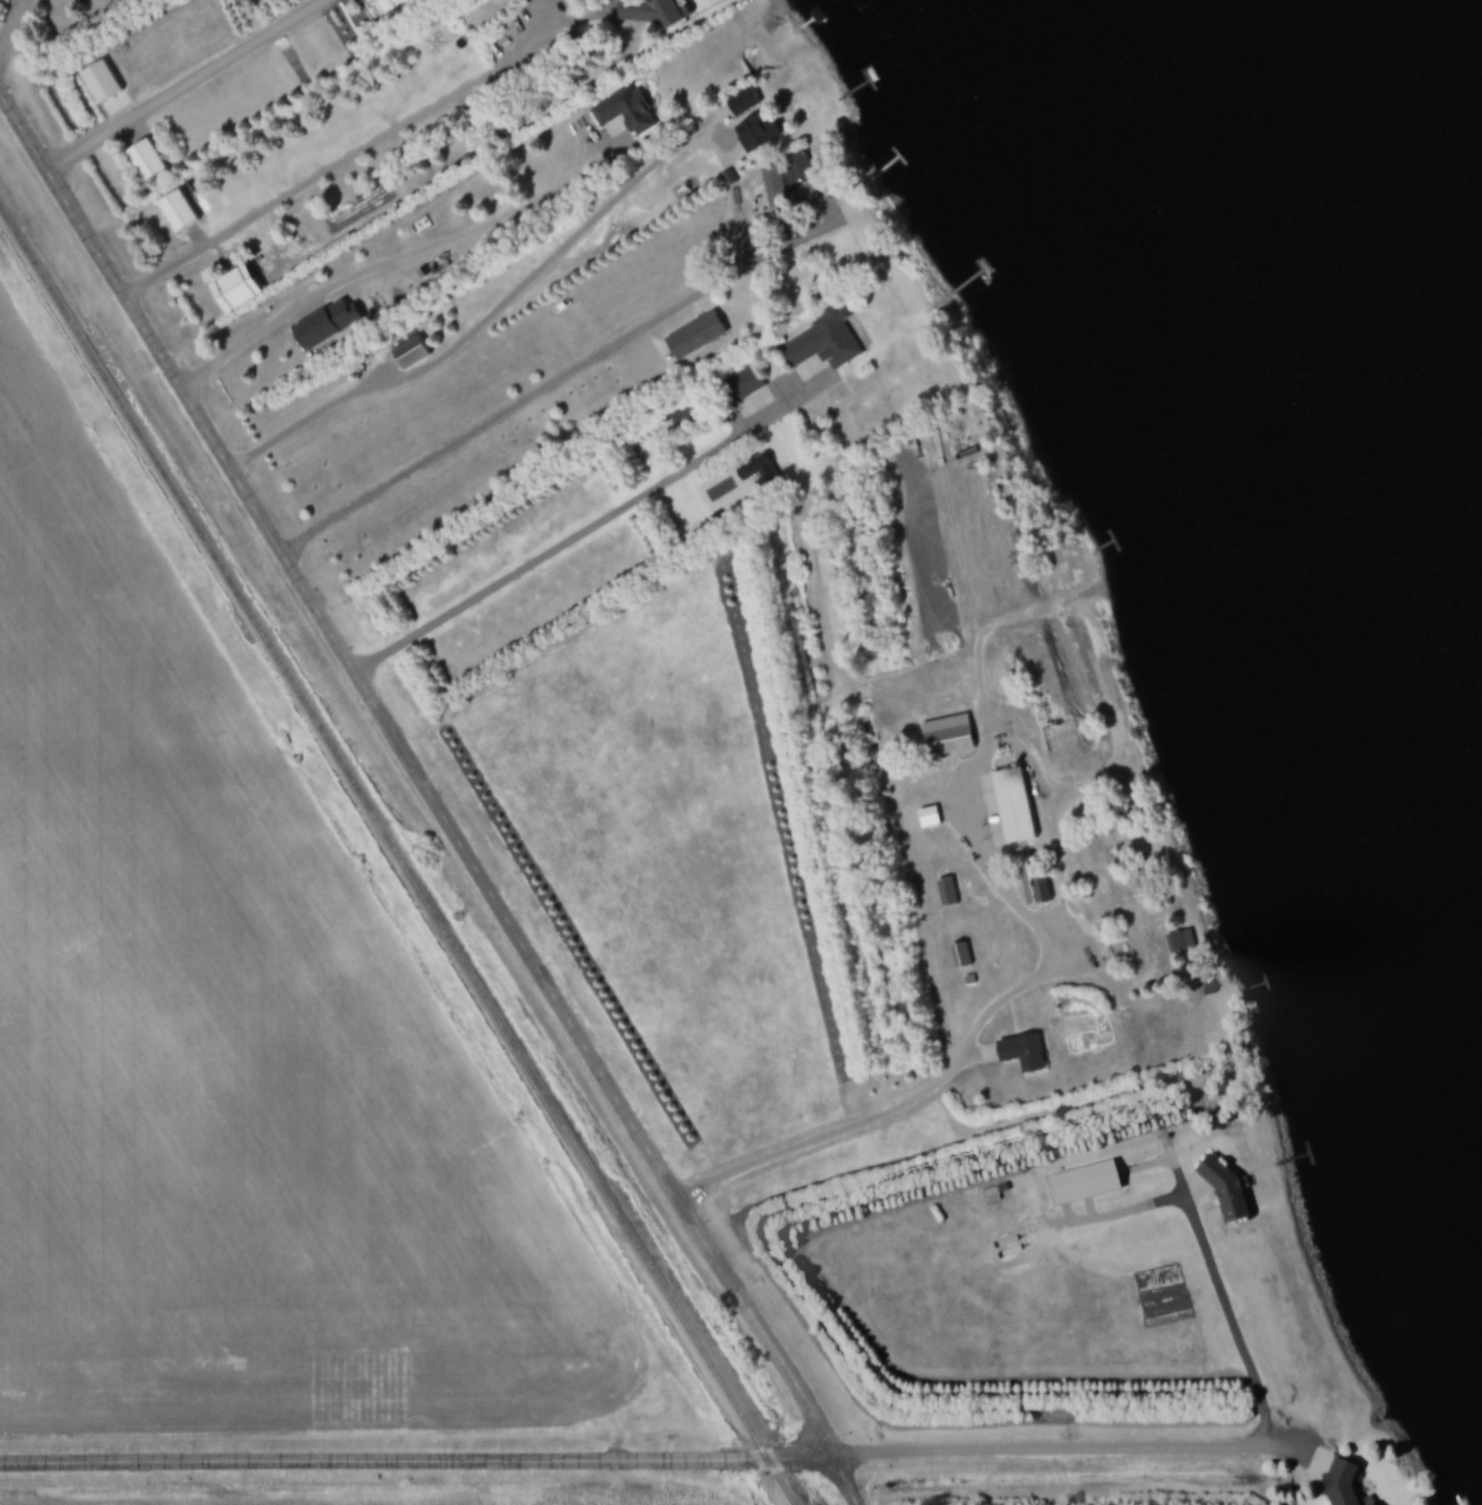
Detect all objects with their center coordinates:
building: (583, 0)
building: (648, 15)
road: (12, 29)
road: (187, 85)
building: (622, 113)
building: (762, 129)
road: (351, 157)
building: (144, 164)
building: (772, 191)
building: (176, 215)
river: (1321, 233)
road: (395, 262)
building: (232, 293)
building: (321, 330)
building: (697, 337)
building: (827, 343)
building: (407, 357)
road: (568, 376)
building: (743, 387)
road: (589, 527)
building: (952, 742)
road: (417, 775)
road: (976, 805)
building: (1018, 806)
building: (930, 818)
railway: (393, 863)
building: (1037, 886)
building: (948, 893)
building: (1080, 895)
building: (1182, 943)
building: (1123, 951)
building: (962, 957)
building: (1025, 1054)
building: (1086, 1182)
building: (1227, 1188)
road: (1049, 1450)
road: (416, 1462)
road: (846, 1481)
building: (1344, 1485)

